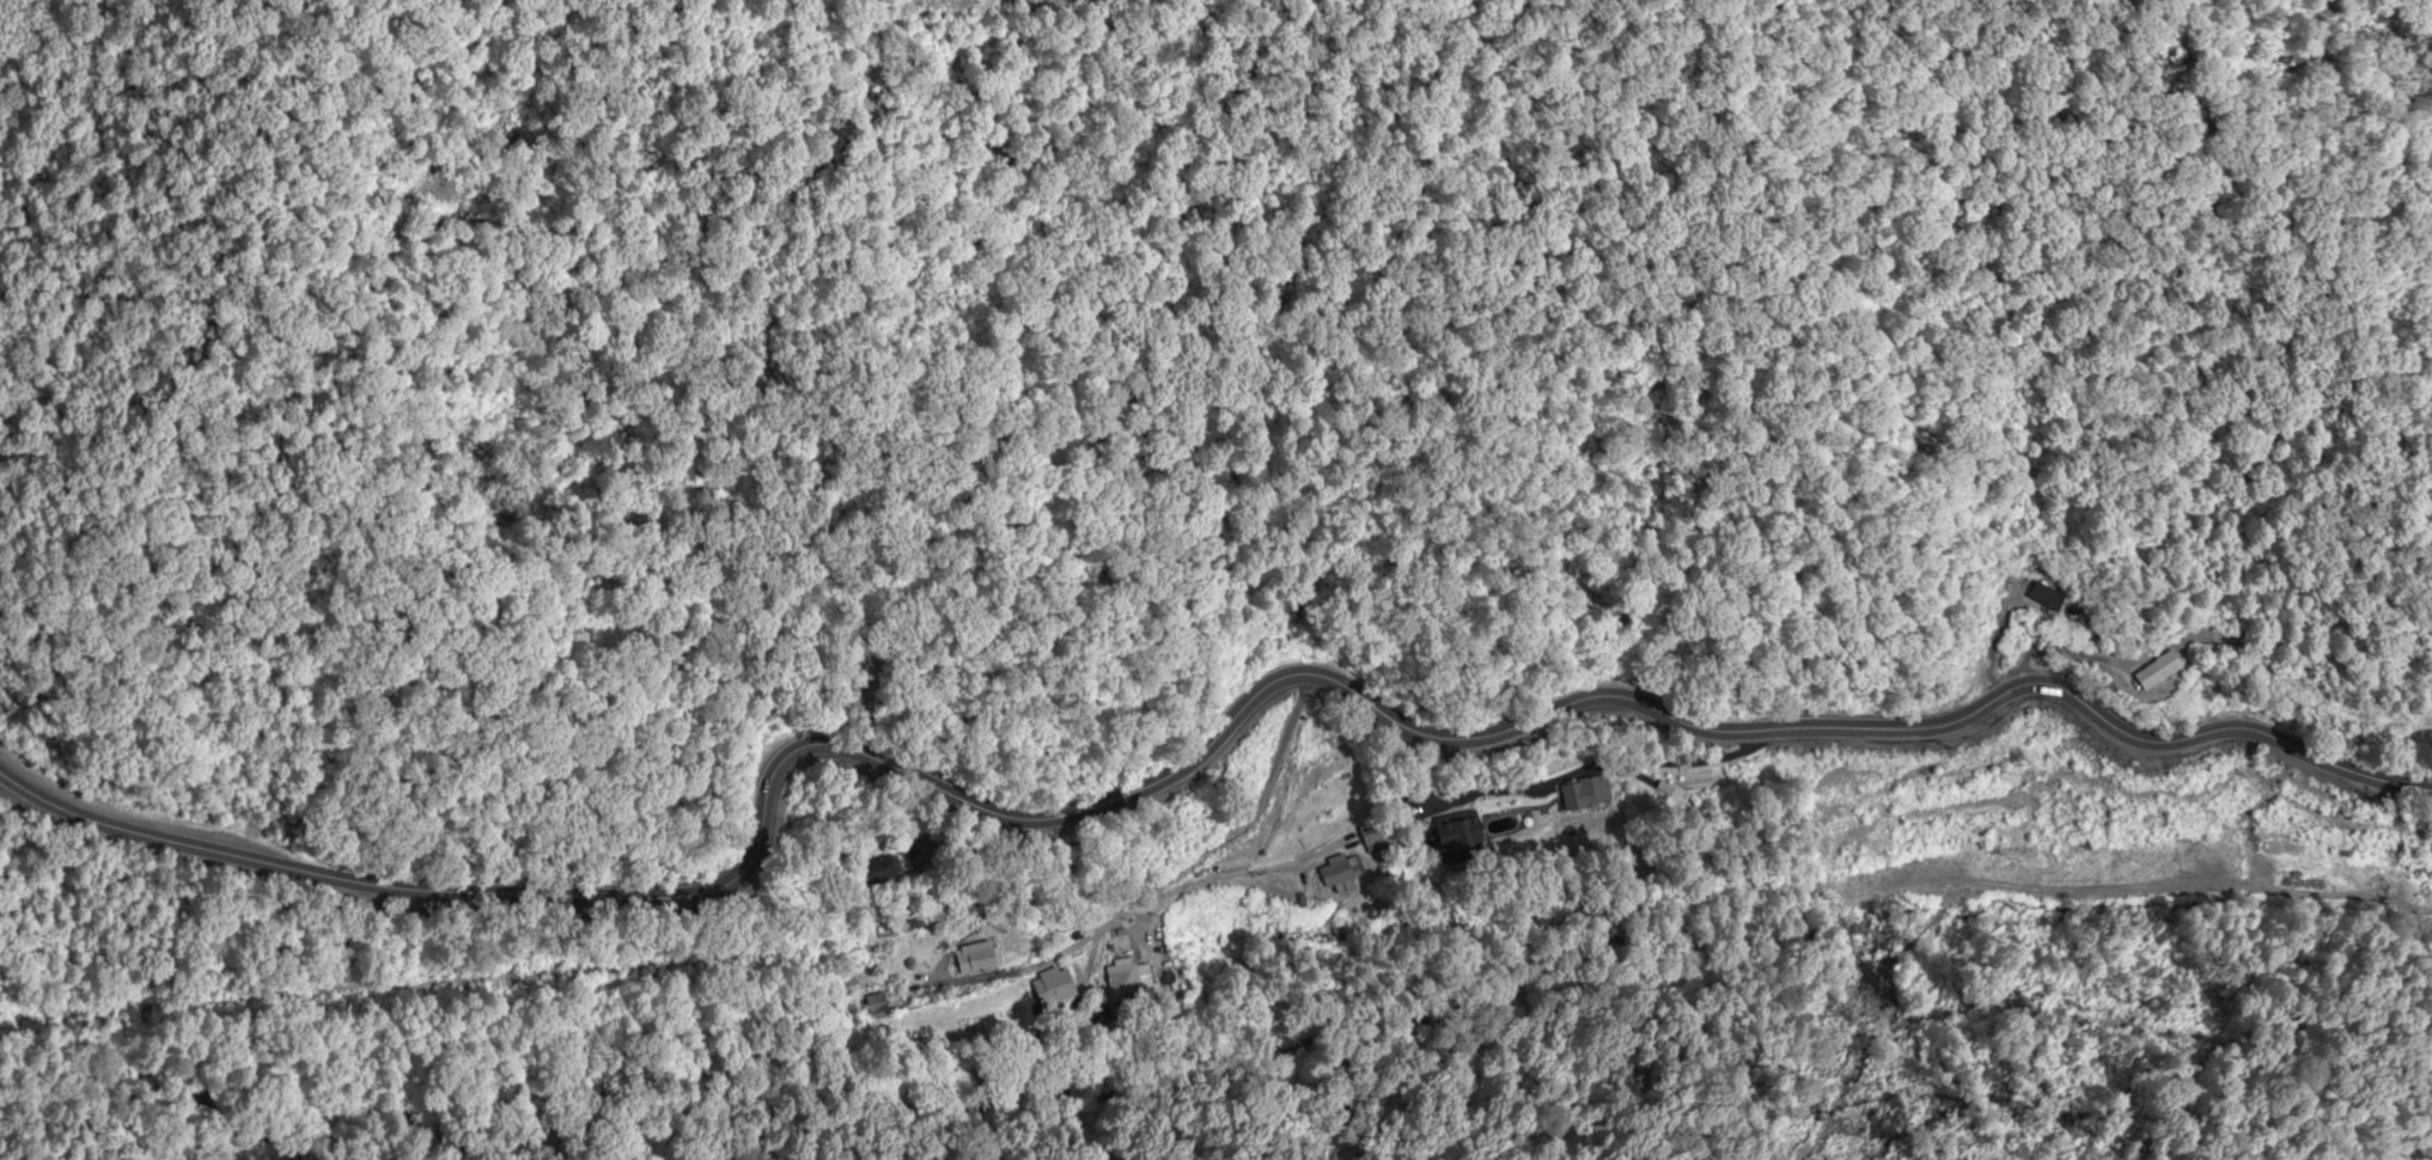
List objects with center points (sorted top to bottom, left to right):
building: (2048, 598)
building: (2223, 651)
road: (2061, 655)
building: (2163, 673)
road: (1243, 706)
building: (1586, 795)
road: (54, 799)
building: (1459, 835)
building: (1375, 842)
building: (2284, 851)
building: (883, 871)
building: (1341, 873)
building: (2418, 875)
road: (2315, 879)
road: (1153, 898)
road: (1060, 954)
building: (977, 959)
building: (1128, 983)
building: (1055, 989)
building: (877, 1006)

